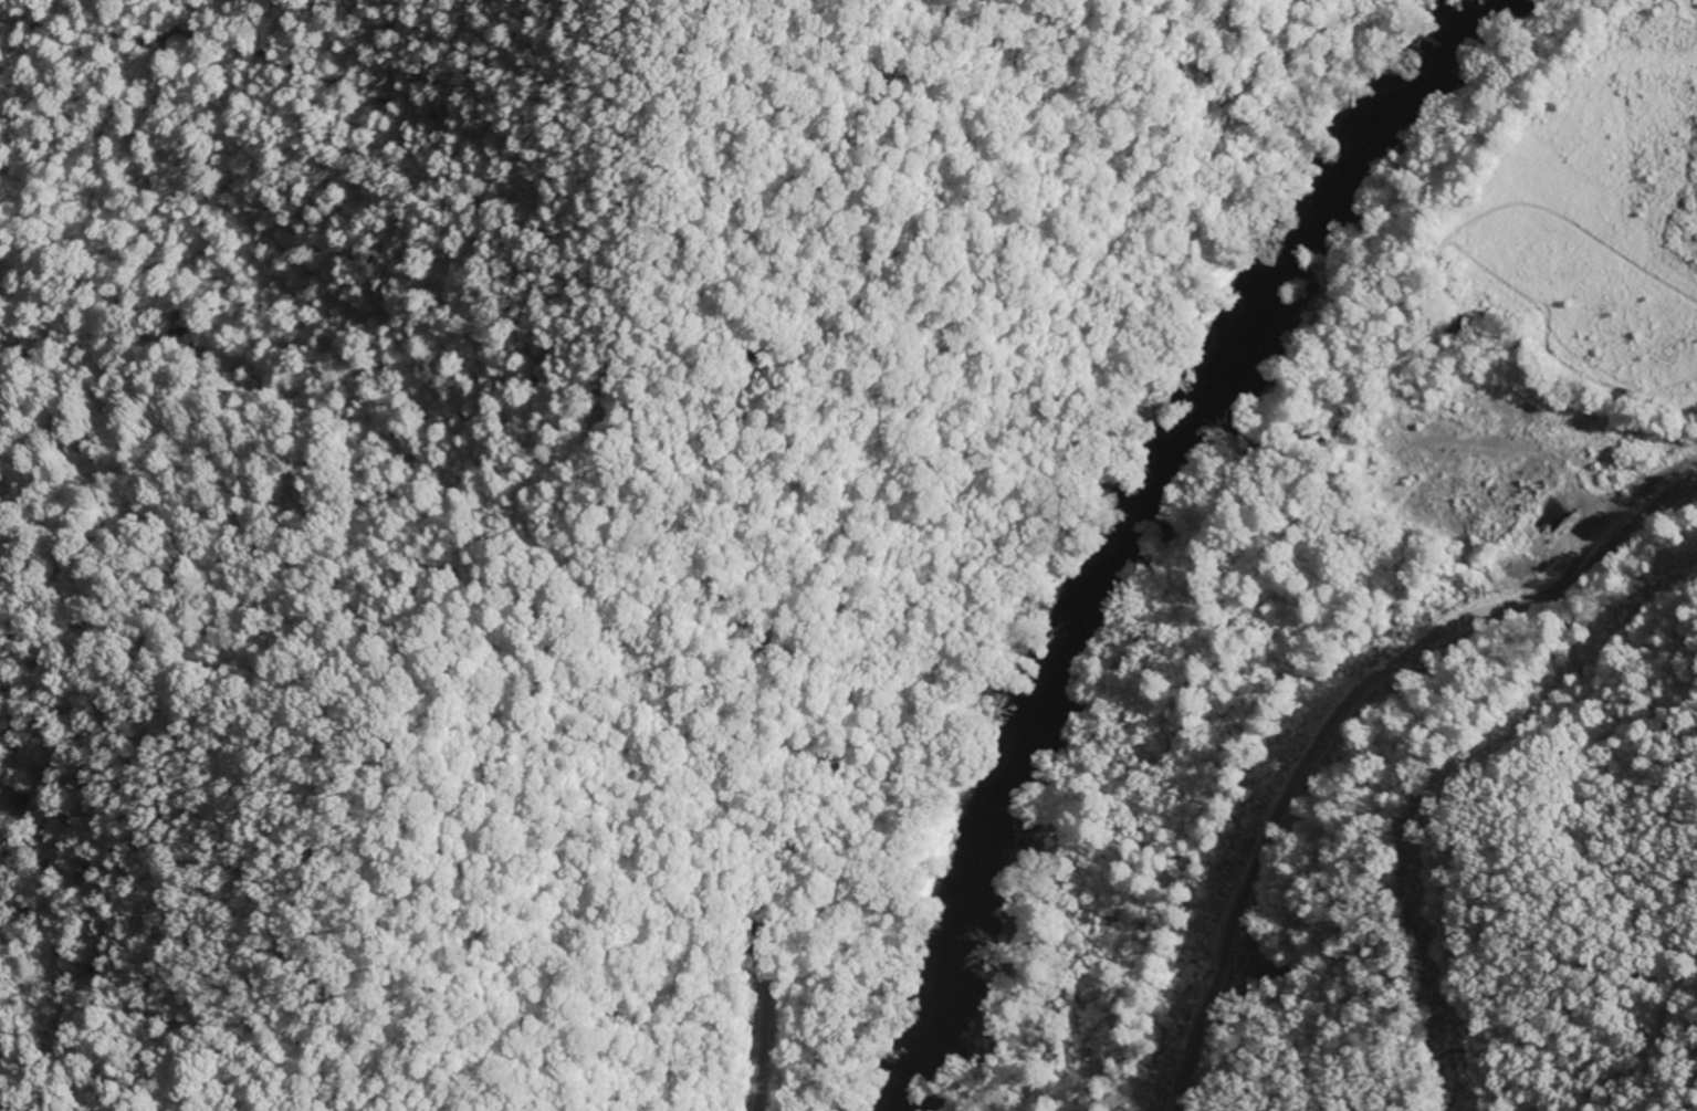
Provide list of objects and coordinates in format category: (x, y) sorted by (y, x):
river: (1129, 524)
road: (1610, 542)
road: (1274, 796)
railway: (761, 1021)

